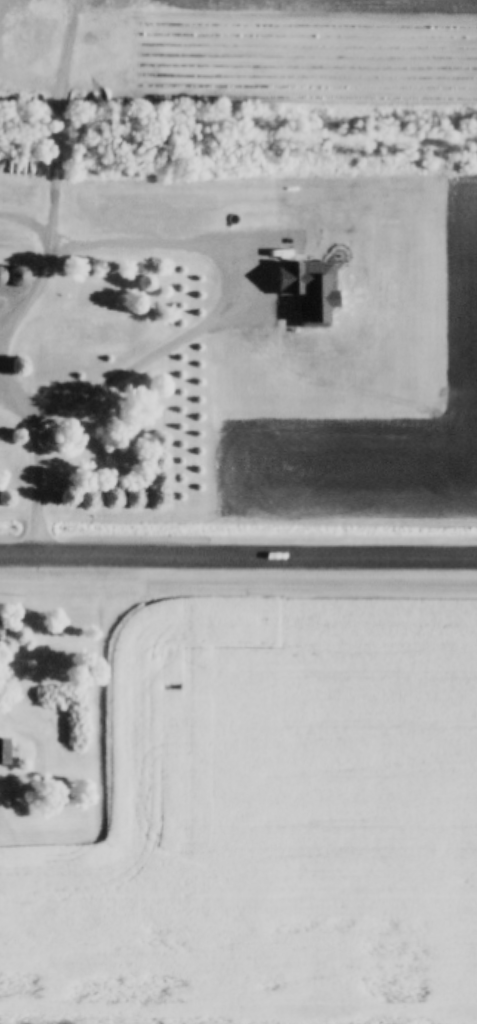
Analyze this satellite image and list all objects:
road: (65, 36)
road: (54, 217)
building: (12, 277)
silo: (12, 277)
building: (82, 361)
road: (36, 453)
road: (238, 555)
building: (0, 750)

